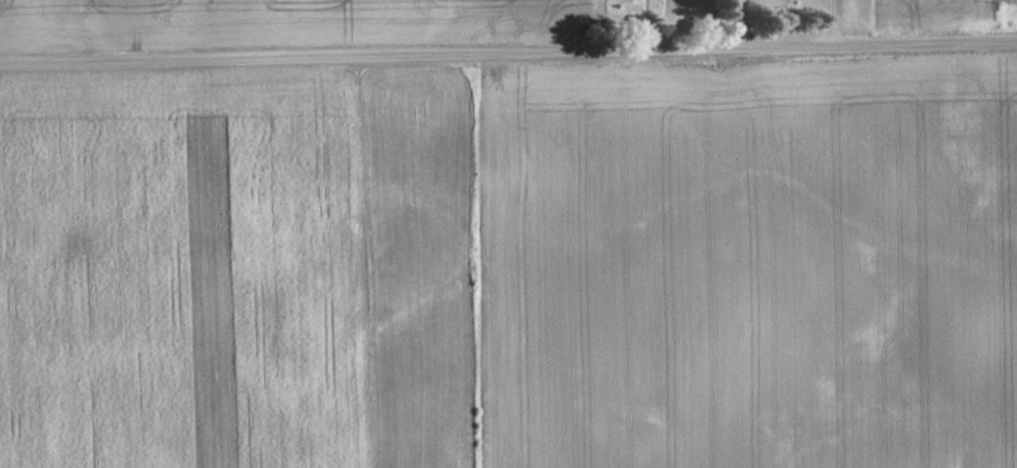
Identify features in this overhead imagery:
road: (825, 22)
road: (508, 52)

